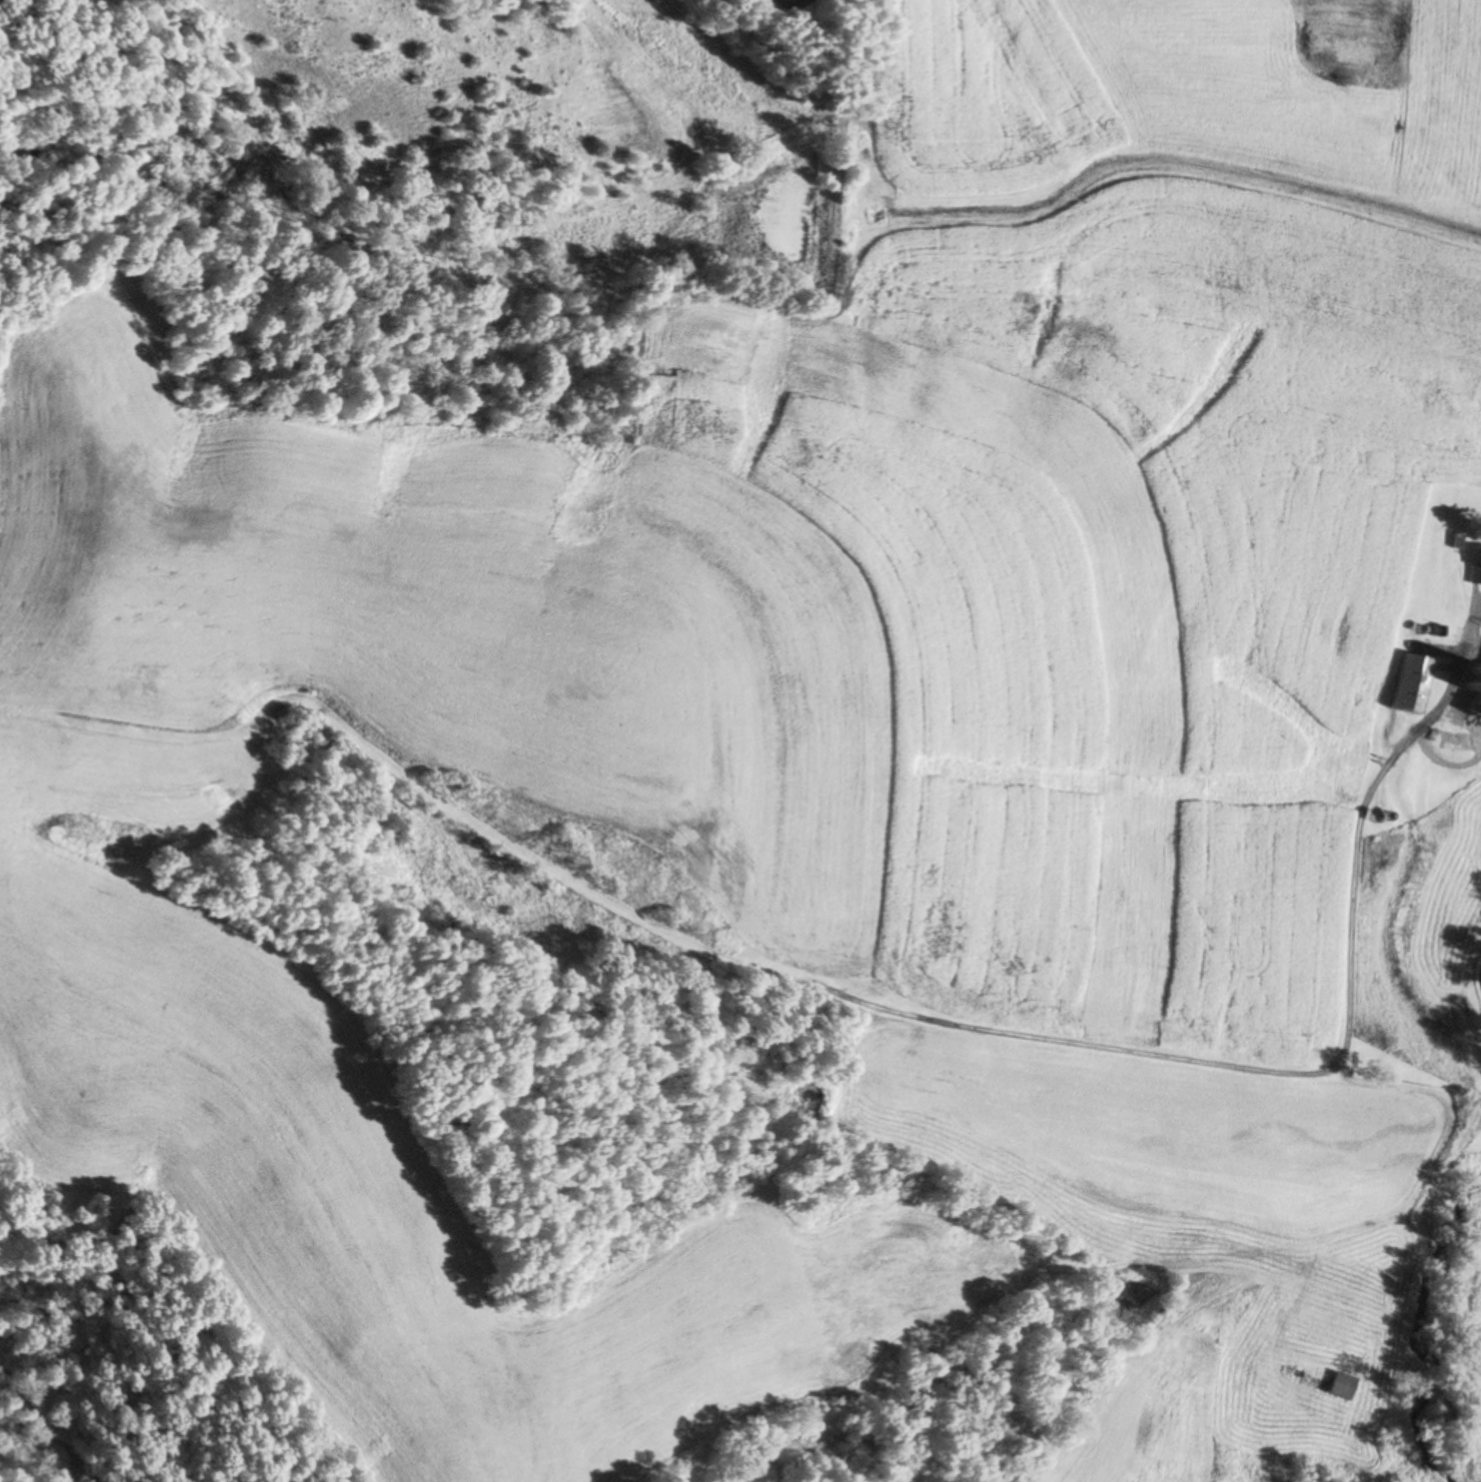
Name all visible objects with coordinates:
road: (764, 37)
building: (1474, 569)
building: (1408, 683)
building: (1474, 700)
building: (1452, 741)
building: (1336, 1386)

